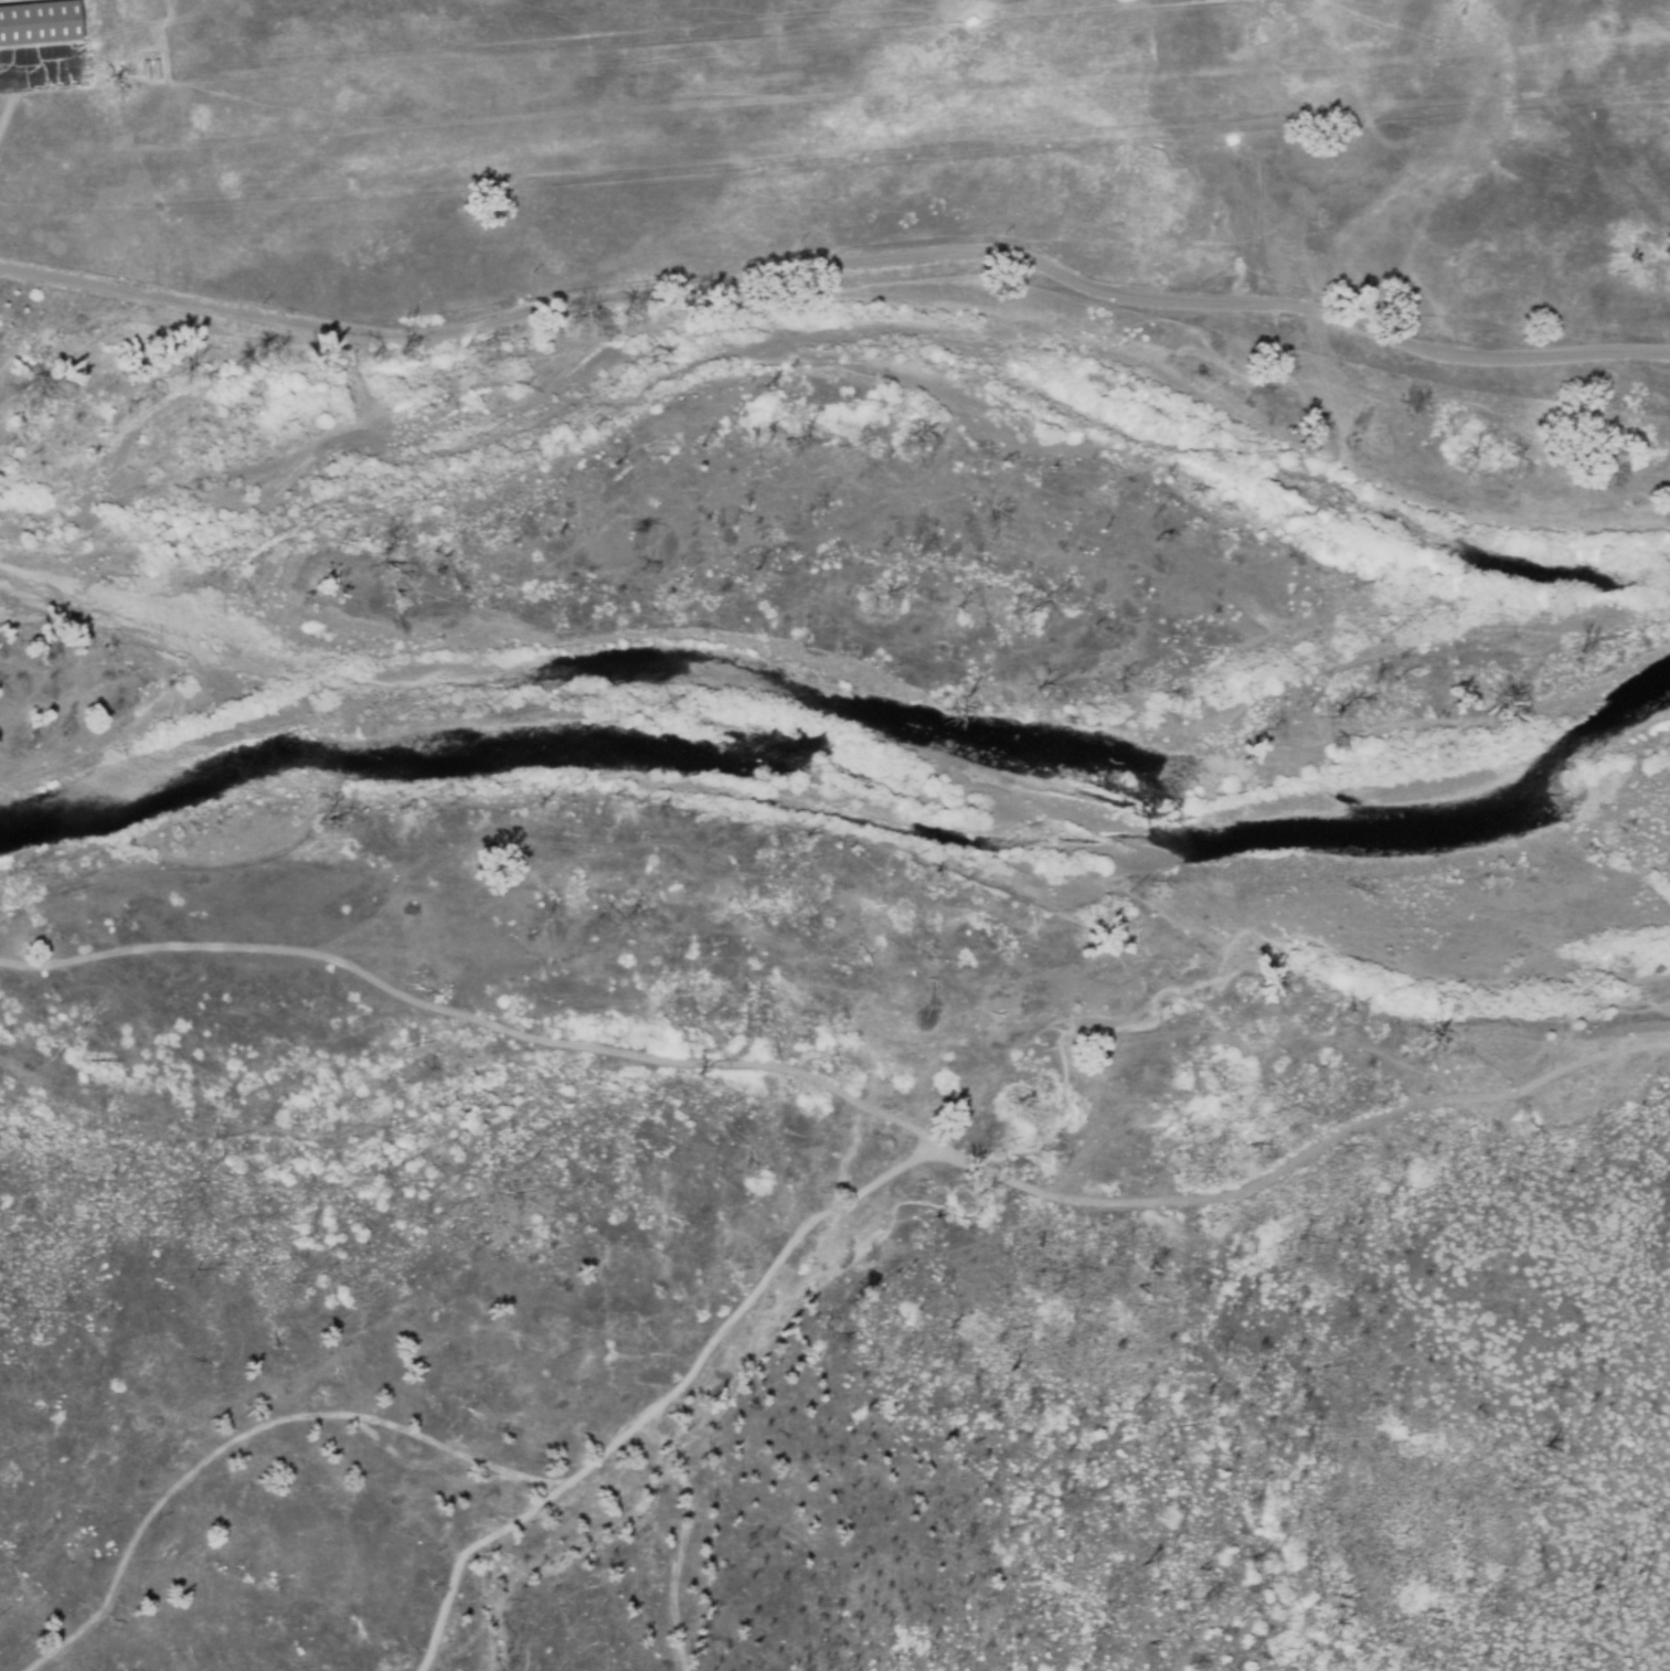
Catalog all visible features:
building: (40, 21)
parking lot: (44, 67)
building: (146, 68)
building: (155, 68)
road: (838, 258)
road: (850, 1100)
road: (1491, 1497)

